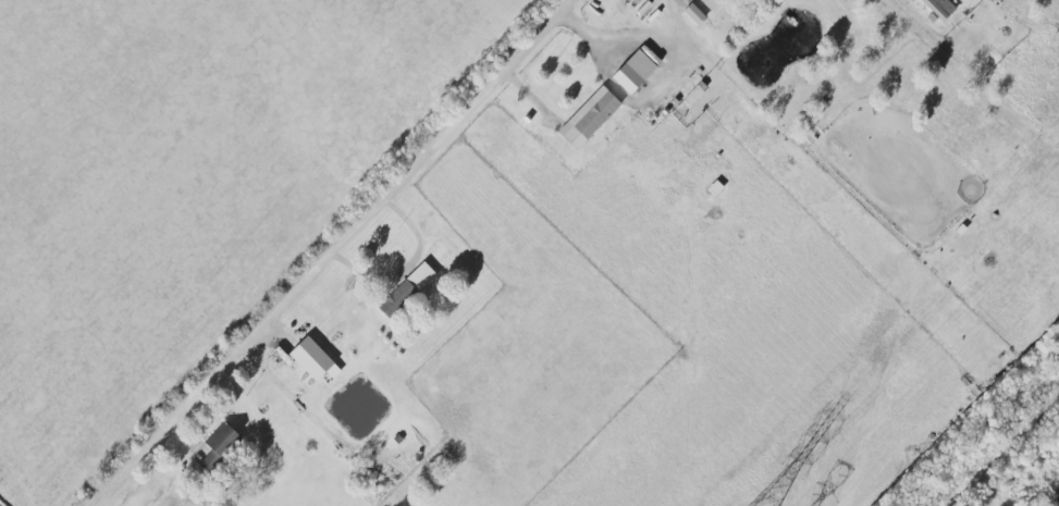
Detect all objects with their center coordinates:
building: (713, 3)
building: (939, 8)
building: (692, 14)
building: (633, 71)
building: (693, 95)
building: (589, 116)
road: (340, 251)
road: (405, 263)
building: (406, 291)
building: (310, 358)
railway: (1029, 429)
building: (218, 443)
railway: (974, 482)

